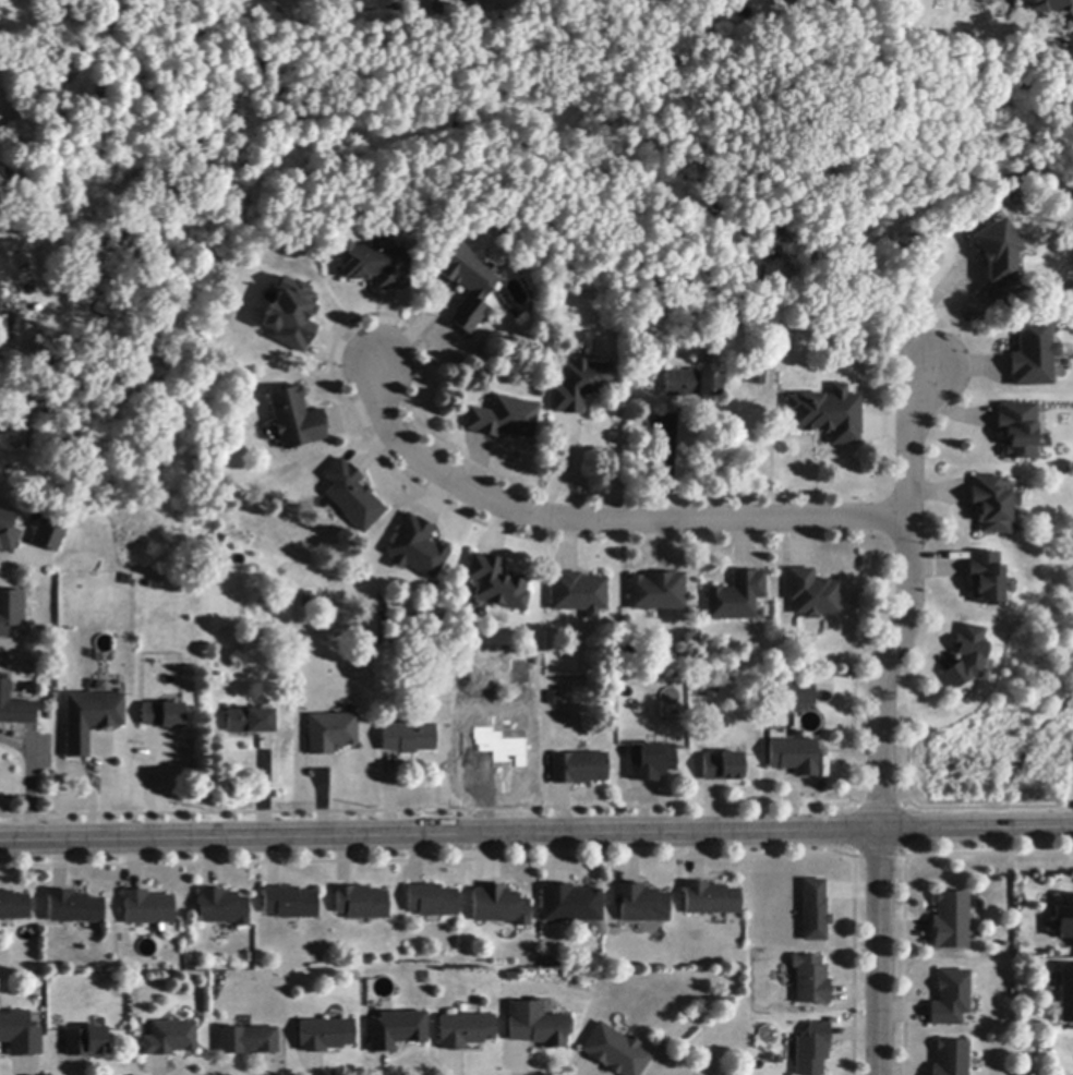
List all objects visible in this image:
building: (1052, 7)
park: (515, 133)
building: (997, 262)
building: (375, 266)
building: (0, 270)
building: (467, 287)
building: (288, 313)
road: (925, 315)
road: (9, 329)
building: (1033, 355)
building: (757, 376)
building: (691, 384)
building: (579, 386)
building: (828, 415)
building: (504, 419)
building: (294, 420)
building: (1016, 430)
building: (351, 496)
building: (991, 505)
road: (601, 520)
building: (8, 533)
building: (47, 535)
building: (413, 546)
road: (21, 561)
building: (985, 579)
building: (496, 584)
building: (658, 592)
building: (579, 594)
building: (812, 594)
building: (737, 597)
building: (305, 602)
road: (907, 603)
building: (10, 608)
building: (966, 657)
building: (521, 675)
building: (707, 691)
building: (797, 696)
building: (553, 699)
building: (14, 708)
building: (162, 716)
building: (91, 720)
building: (250, 722)
building: (328, 730)
building: (408, 738)
building: (795, 757)
building: (651, 762)
building: (723, 768)
building: (579, 769)
road: (29, 780)
road: (536, 835)
building: (710, 899)
building: (433, 902)
building: (290, 904)
building: (361, 904)
building: (640, 904)
building: (571, 905)
building: (14, 907)
building: (499, 907)
building: (74, 908)
building: (148, 908)
building: (224, 908)
building: (813, 911)
building: (1064, 918)
building: (950, 921)
road: (880, 953)
building: (810, 981)
building: (1065, 994)
building: (950, 999)
building: (536, 1025)
building: (396, 1031)
building: (465, 1031)
building: (21, 1035)
building: (325, 1036)
building: (169, 1039)
building: (249, 1041)
building: (86, 1042)
building: (811, 1050)
building: (615, 1052)
building: (950, 1059)

